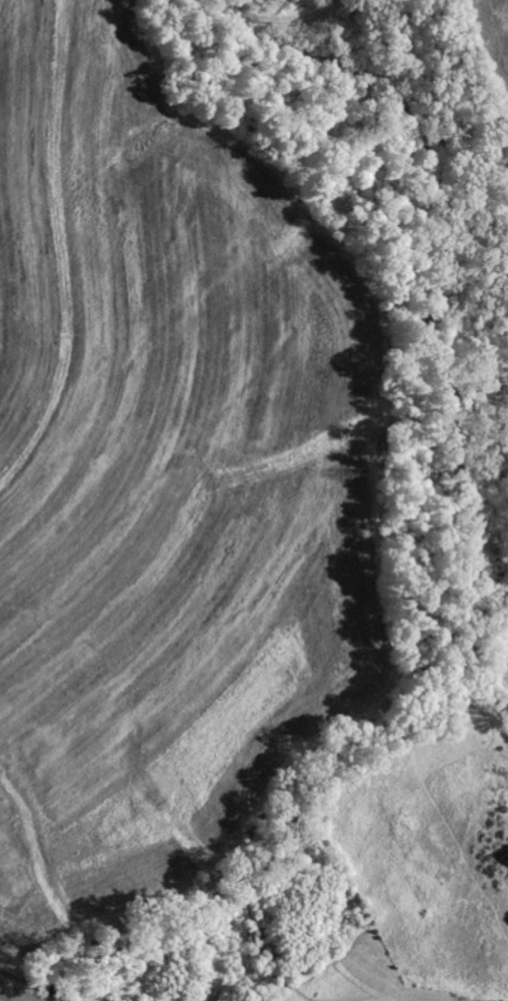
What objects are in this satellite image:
road: (13, 994)

